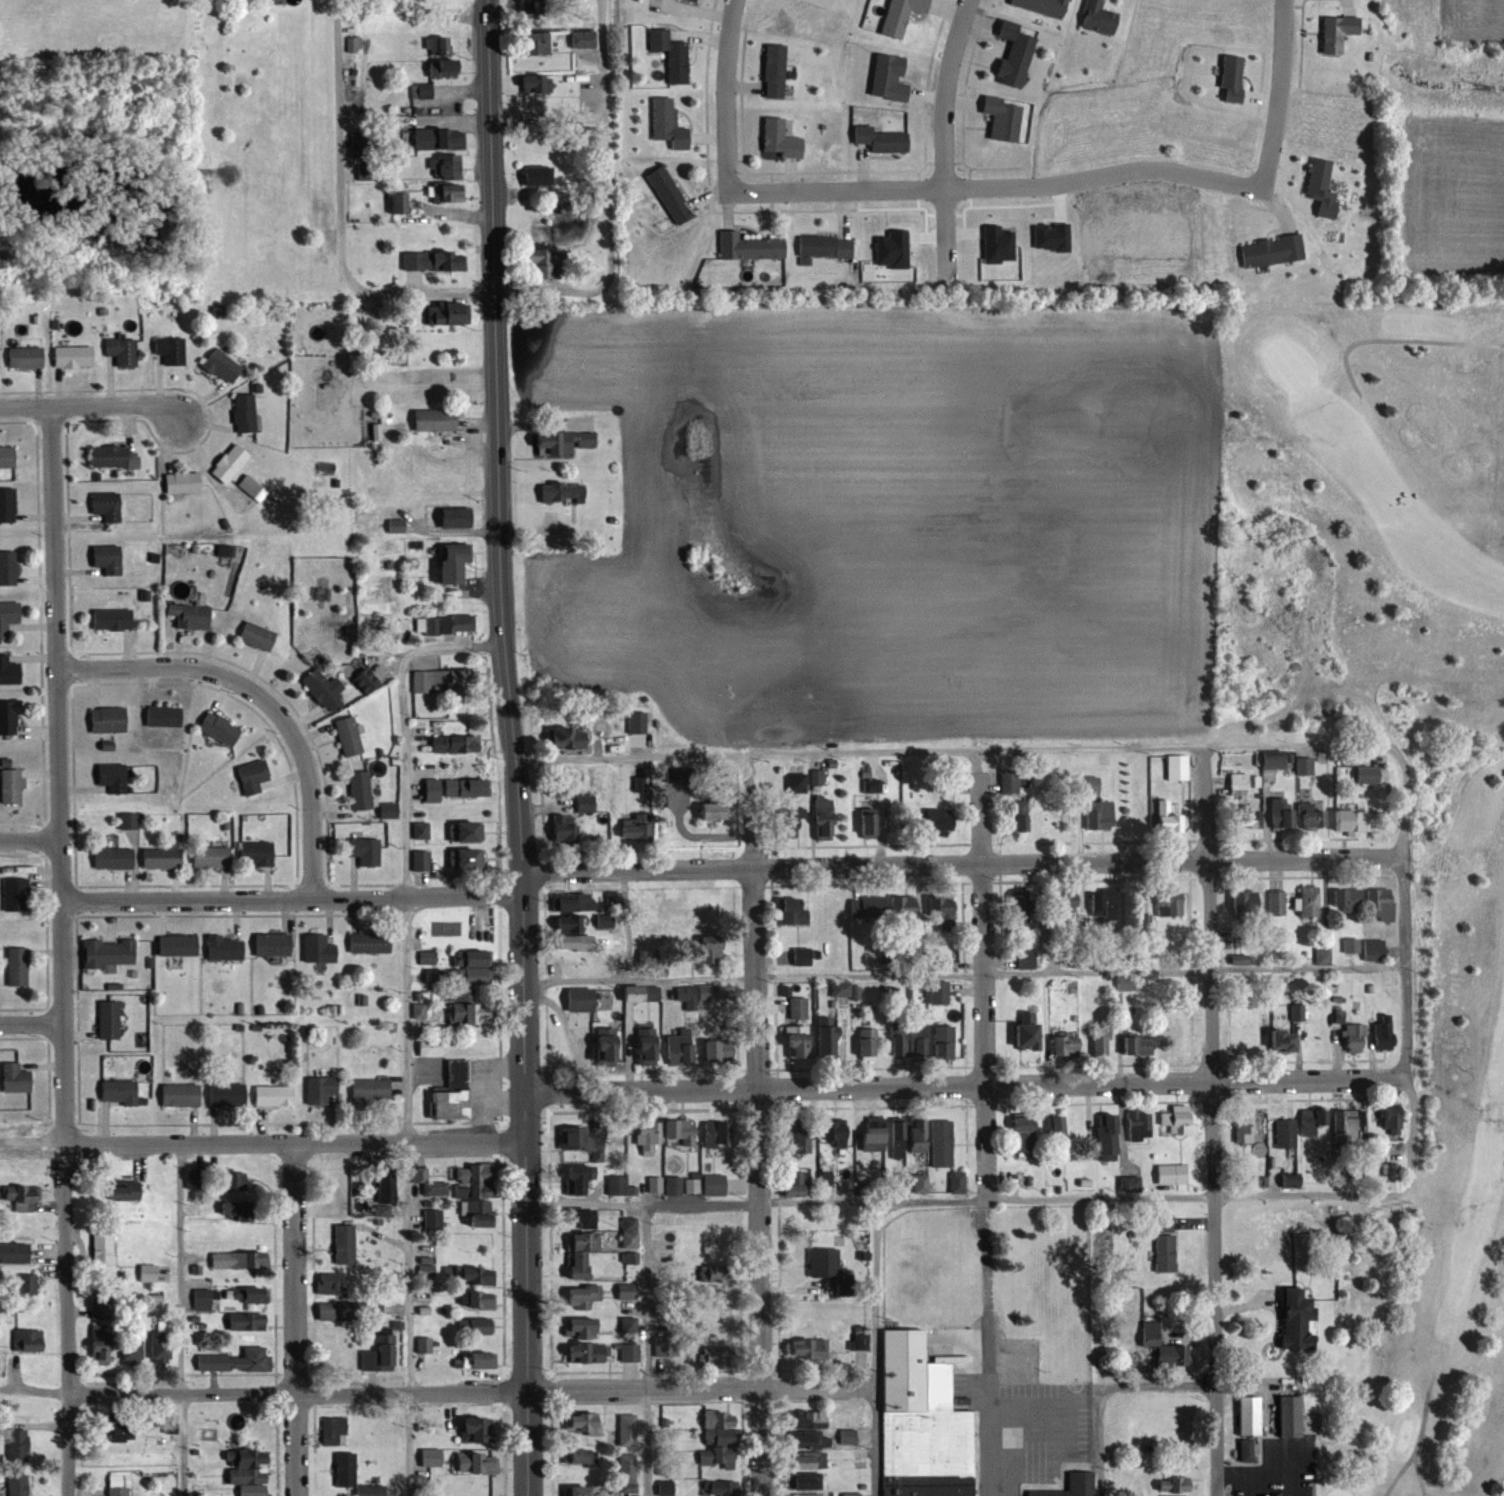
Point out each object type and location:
building: (698, 0)
building: (1044, 6)
building: (901, 16)
building: (1099, 17)
building: (1339, 32)
building: (583, 39)
building: (538, 42)
building: (353, 44)
building: (439, 46)
building: (1015, 54)
building: (672, 55)
building: (444, 67)
building: (775, 71)
building: (1232, 77)
building: (889, 78)
building: (533, 82)
building: (1002, 118)
building: (669, 124)
road: (945, 138)
building: (439, 139)
building: (780, 140)
building: (881, 140)
building: (446, 167)
building: (366, 172)
building: (538, 176)
road: (994, 186)
building: (448, 193)
building: (670, 195)
road: (607, 198)
building: (399, 204)
road: (339, 214)
building: (750, 247)
building: (825, 247)
building: (1272, 251)
building: (2, 260)
building: (434, 261)
building: (546, 263)
building: (447, 314)
road: (1402, 341)
building: (171, 350)
building: (122, 351)
building: (74, 357)
building: (26, 358)
building: (223, 367)
road: (92, 406)
building: (245, 414)
building: (436, 420)
building: (564, 443)
building: (7, 457)
building: (113, 457)
building: (230, 464)
building: (183, 482)
building: (563, 493)
building: (7, 505)
building: (107, 506)
building: (456, 517)
building: (396, 526)
building: (108, 559)
building: (455, 562)
building: (8, 567)
building: (189, 615)
building: (8, 616)
building: (113, 619)
building: (445, 624)
building: (258, 635)
building: (9, 671)
building: (366, 681)
building: (443, 681)
building: (324, 687)
road: (265, 701)
building: (164, 715)
building: (9, 717)
building: (109, 719)
building: (220, 728)
building: (349, 736)
building: (571, 737)
road: (1355, 739)
building: (449, 743)
road: (514, 747)
building: (1274, 760)
building: (1304, 765)
building: (1177, 767)
building: (1371, 775)
building: (252, 776)
building: (113, 777)
building: (1009, 782)
building: (796, 783)
building: (11, 784)
building: (1239, 784)
building: (469, 786)
building: (1091, 786)
building: (360, 790)
building: (586, 803)
building: (713, 811)
building: (1282, 813)
building: (1100, 814)
building: (1021, 816)
building: (1312, 816)
building: (1168, 818)
building: (824, 819)
building: (128, 820)
building: (1347, 820)
building: (1060, 821)
building: (870, 822)
building: (940, 822)
building: (790, 824)
building: (564, 829)
building: (636, 830)
building: (466, 831)
road: (31, 839)
road: (405, 848)
building: (366, 851)
building: (256, 854)
building: (212, 856)
building: (162, 857)
building: (113, 858)
building: (466, 859)
building: (420, 860)
road: (959, 864)
building: (16, 894)
road: (293, 900)
building: (1348, 900)
building: (613, 901)
building: (1067, 901)
building: (1309, 901)
building: (572, 902)
building: (1105, 902)
building: (1246, 903)
building: (1276, 903)
building: (1170, 904)
building: (1380, 904)
building: (910, 905)
building: (869, 908)
building: (1022, 908)
building: (793, 910)
building: (944, 911)
building: (480, 923)
building: (569, 924)
building: (370, 943)
building: (574, 943)
building: (273, 944)
building: (178, 945)
building: (225, 947)
building: (318, 949)
building: (713, 949)
building: (1373, 950)
road: (64, 951)
building: (109, 953)
building: (802, 956)
building: (1026, 960)
building: (17, 966)
building: (471, 967)
road: (1282, 967)
building: (1125, 984)
building: (841, 989)
building: (939, 992)
building: (714, 993)
building: (581, 1000)
building: (798, 1008)
building: (464, 1013)
building: (109, 1020)
road: (31, 1022)
building: (1028, 1032)
building: (1385, 1032)
building: (1356, 1037)
building: (829, 1039)
building: (919, 1040)
building: (798, 1041)
building: (897, 1041)
building: (944, 1041)
building: (1101, 1041)
building: (1284, 1041)
building: (868, 1043)
building: (1067, 1044)
building: (648, 1045)
building: (1138, 1045)
building: (608, 1046)
building: (430, 1047)
building: (680, 1049)
building: (719, 1049)
building: (16, 1078)
road: (966, 1084)
building: (320, 1090)
building: (371, 1090)
building: (120, 1092)
building: (454, 1092)
building: (227, 1094)
building: (181, 1095)
building: (274, 1095)
road: (984, 1110)
building: (1393, 1119)
building: (1179, 1120)
road: (1217, 1122)
road: (757, 1123)
building: (1313, 1123)
building: (1140, 1124)
building: (1057, 1126)
building: (1108, 1126)
building: (1245, 1126)
building: (1350, 1126)
building: (681, 1131)
building: (838, 1131)
building: (1025, 1132)
building: (1285, 1132)
building: (875, 1133)
building: (918, 1133)
building: (716, 1134)
building: (899, 1134)
building: (647, 1135)
building: (801, 1136)
building: (582, 1140)
road: (33, 1142)
road: (296, 1143)
building: (942, 1143)
building: (1172, 1173)
building: (194, 1178)
building: (235, 1180)
building: (474, 1180)
building: (579, 1180)
building: (958, 1181)
building: (795, 1183)
building: (1129, 1183)
building: (386, 1184)
building: (673, 1185)
building: (714, 1185)
building: (435, 1188)
building: (124, 1190)
building: (22, 1197)
road: (818, 1200)
road: (642, 1203)
building: (238, 1210)
building: (480, 1212)
building: (583, 1218)
building: (433, 1219)
building: (629, 1232)
road: (879, 1242)
building: (344, 1243)
building: (103, 1249)
building: (1165, 1251)
building: (583, 1252)
building: (15, 1253)
building: (667, 1258)
building: (240, 1260)
building: (824, 1262)
building: (152, 1272)
building: (716, 1273)
building: (473, 1275)
building: (23, 1285)
building: (627, 1292)
building: (255, 1294)
road: (646, 1295)
building: (583, 1296)
building: (204, 1299)
building: (478, 1299)
building: (102, 1307)
building: (340, 1310)
road: (298, 1319)
road: (176, 1320)
road: (406, 1320)
building: (1300, 1320)
building: (247, 1321)
building: (481, 1326)
building: (582, 1327)
building: (27, 1340)
building: (630, 1340)
building: (854, 1340)
building: (102, 1343)
building: (424, 1344)
building: (161, 1345)
building: (665, 1346)
building: (1163, 1346)
building: (133, 1348)
building: (808, 1349)
building: (380, 1353)
building: (589, 1353)
building: (714, 1356)
building: (236, 1360)
building: (480, 1360)
road: (702, 1387)
road: (1165, 1387)
road: (300, 1391)
building: (1250, 1416)
building: (1291, 1416)
building: (812, 1419)
building: (922, 1422)
building: (583, 1423)
building: (120, 1428)
building: (334, 1429)
building: (477, 1429)
building: (628, 1430)
building: (812, 1440)
road: (875, 1441)
road: (646, 1442)
road: (1417, 1445)
building: (18, 1446)
building: (1246, 1450)
road: (1271, 1450)
building: (719, 1453)
parking lot: (1276, 1453)
building: (580, 1456)
building: (432, 1457)
building: (809, 1460)
building: (477, 1463)
building: (627, 1467)
road: (1244, 1471)
building: (251, 1472)
road: (1422, 1472)
building: (354, 1476)
building: (808, 1481)
road: (989, 1483)
building: (18, 1484)
building: (119, 1485)
building: (1071, 1486)
building: (666, 1488)
building: (722, 1488)
building: (579, 1490)
building: (808, 1494)
building: (851, 1494)

